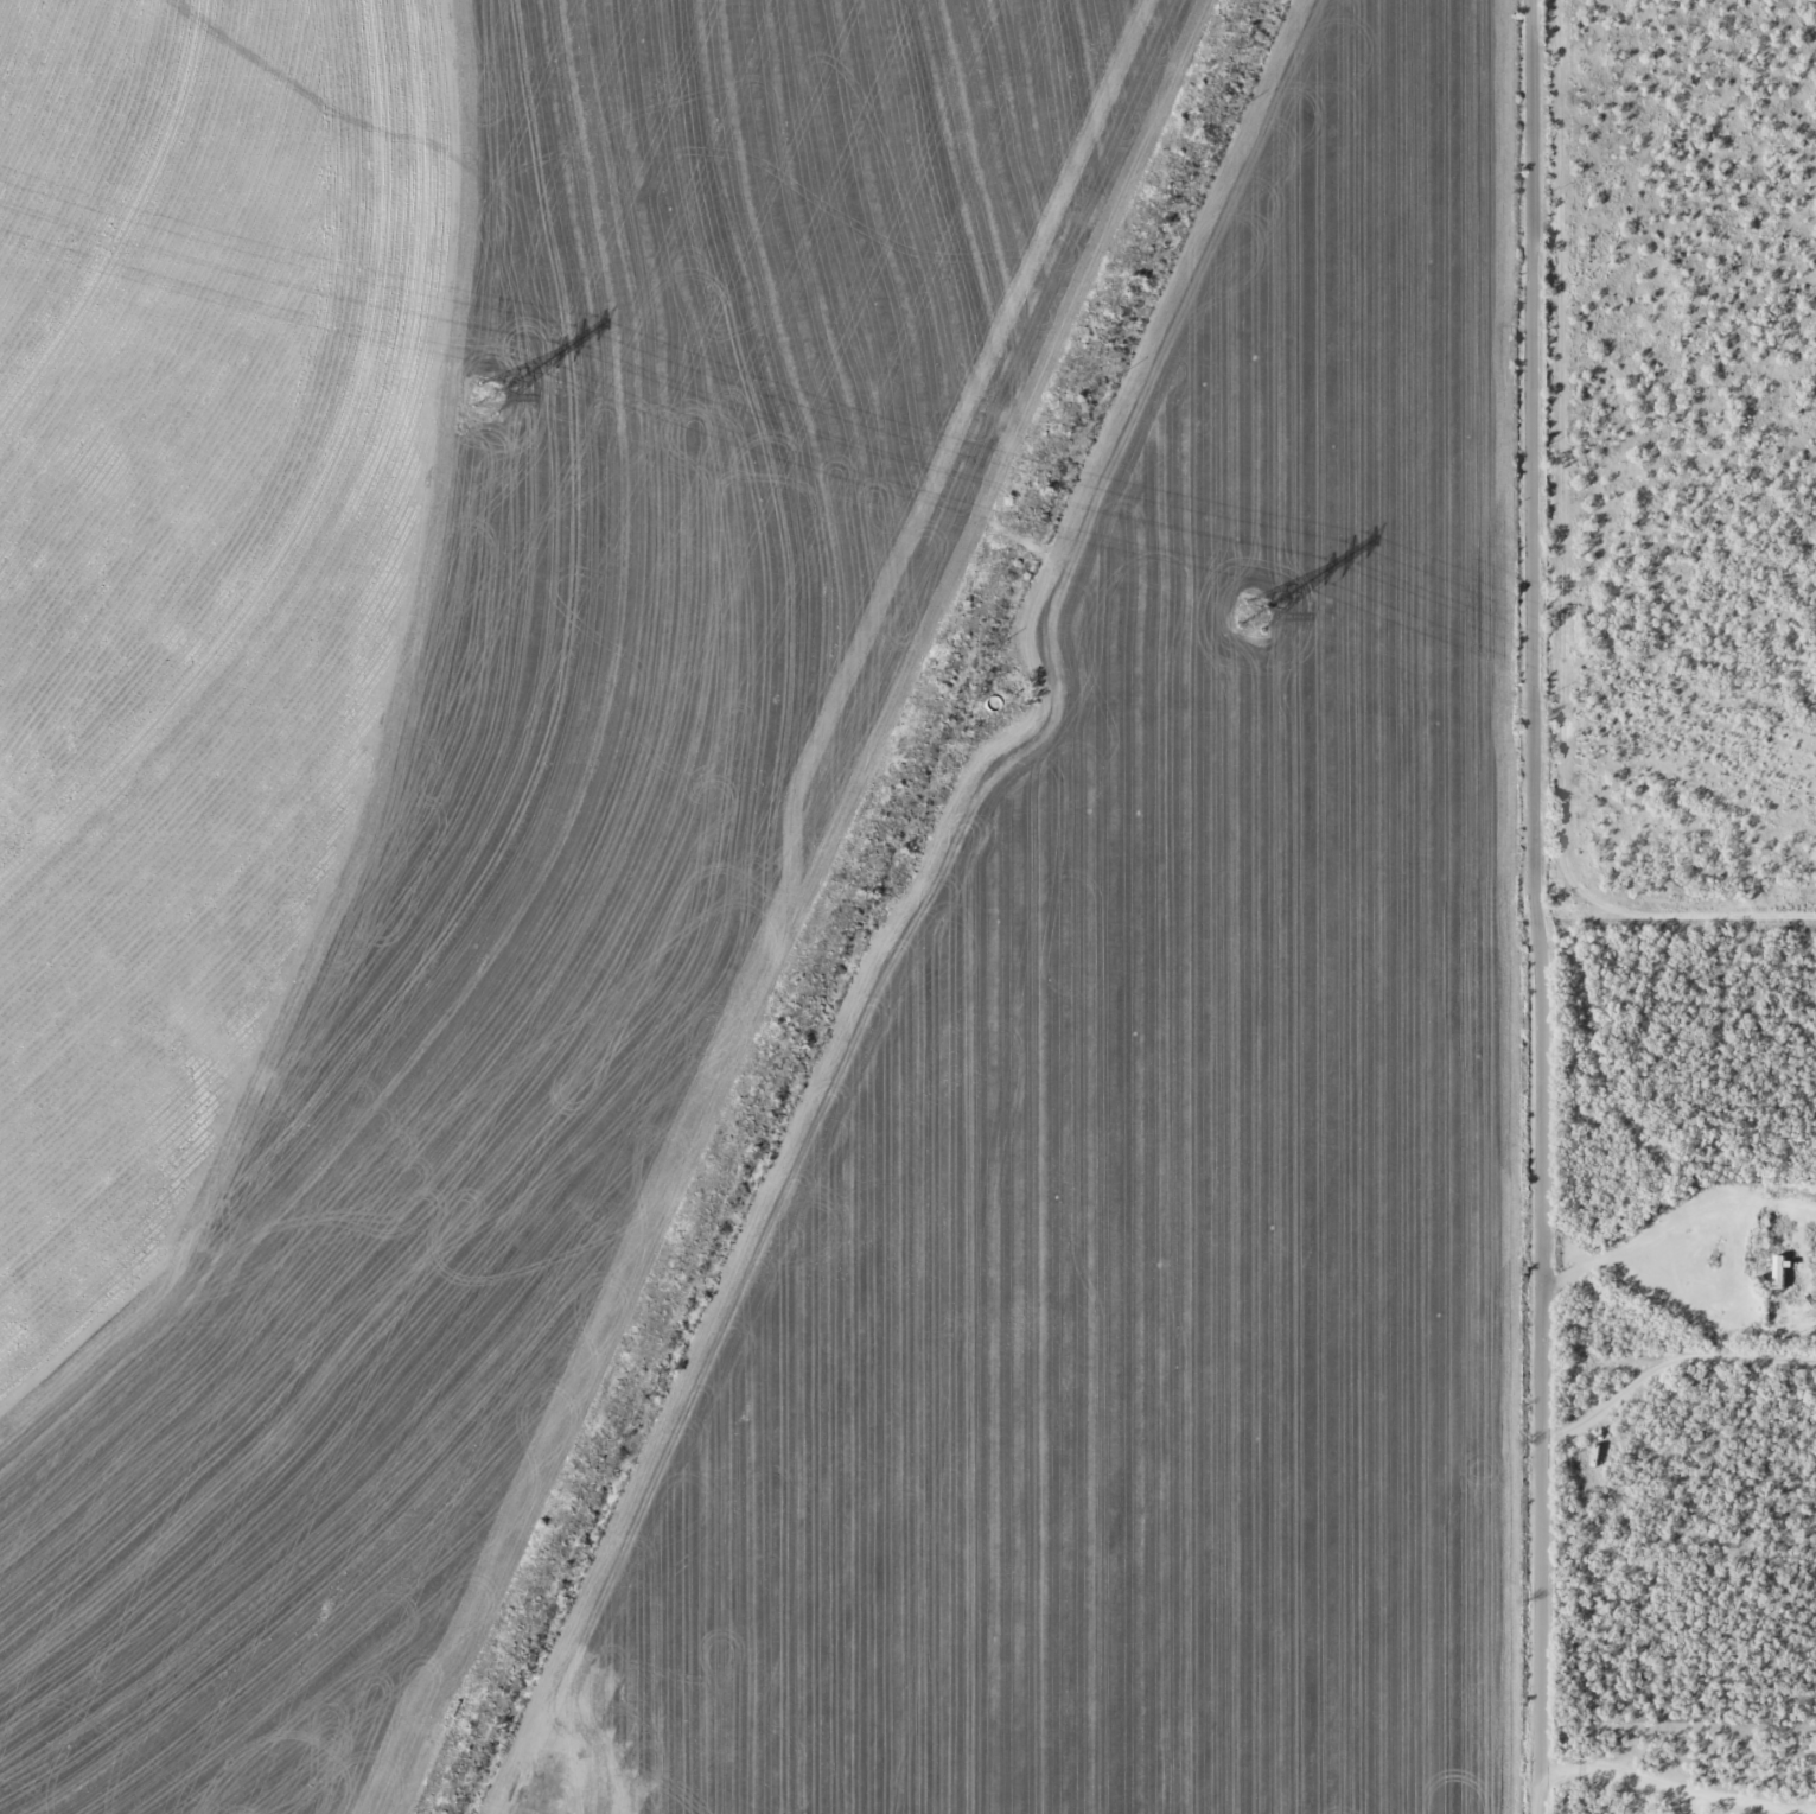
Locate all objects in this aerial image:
power tower: (484, 399)
power tower: (1248, 620)
road: (1499, 906)
road: (1657, 947)
building: (1777, 1272)

